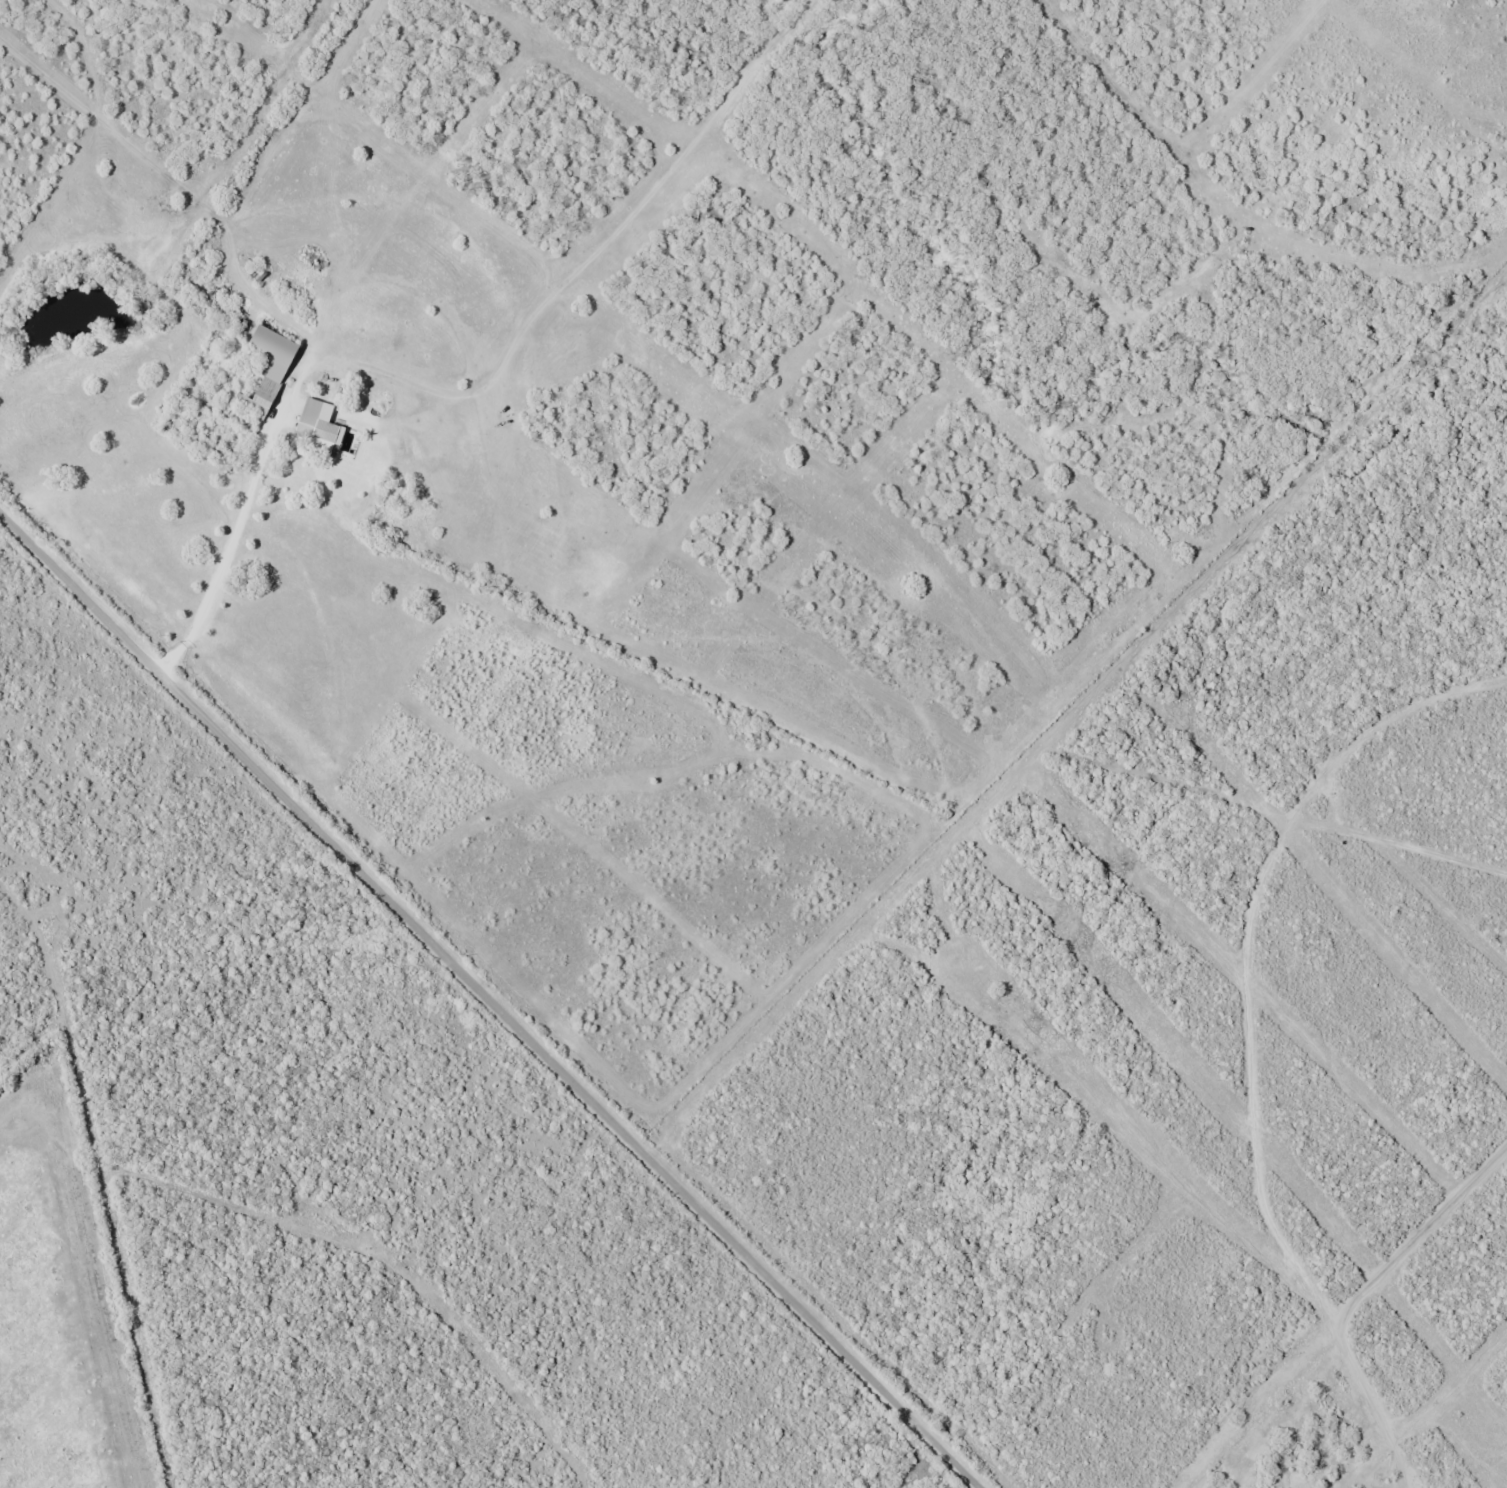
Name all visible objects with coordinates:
building: (267, 371)
building: (313, 425)
building: (293, 476)
road: (236, 524)
road: (488, 1002)

